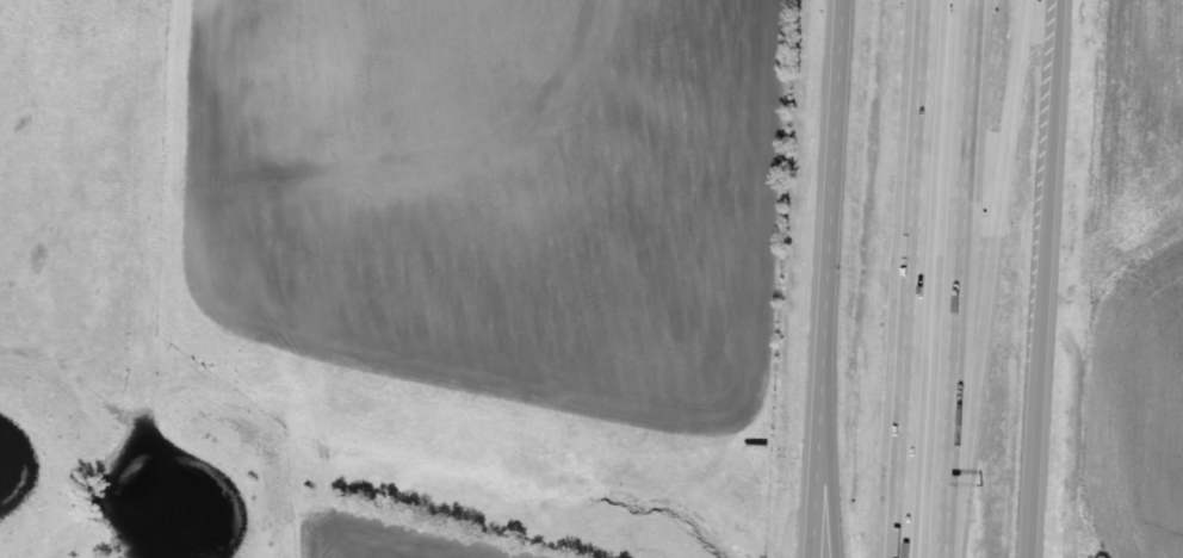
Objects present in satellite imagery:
road: (830, 279)
road: (917, 279)
road: (955, 279)
road: (992, 279)
road: (1045, 279)
road: (831, 376)
building: (1051, 551)

